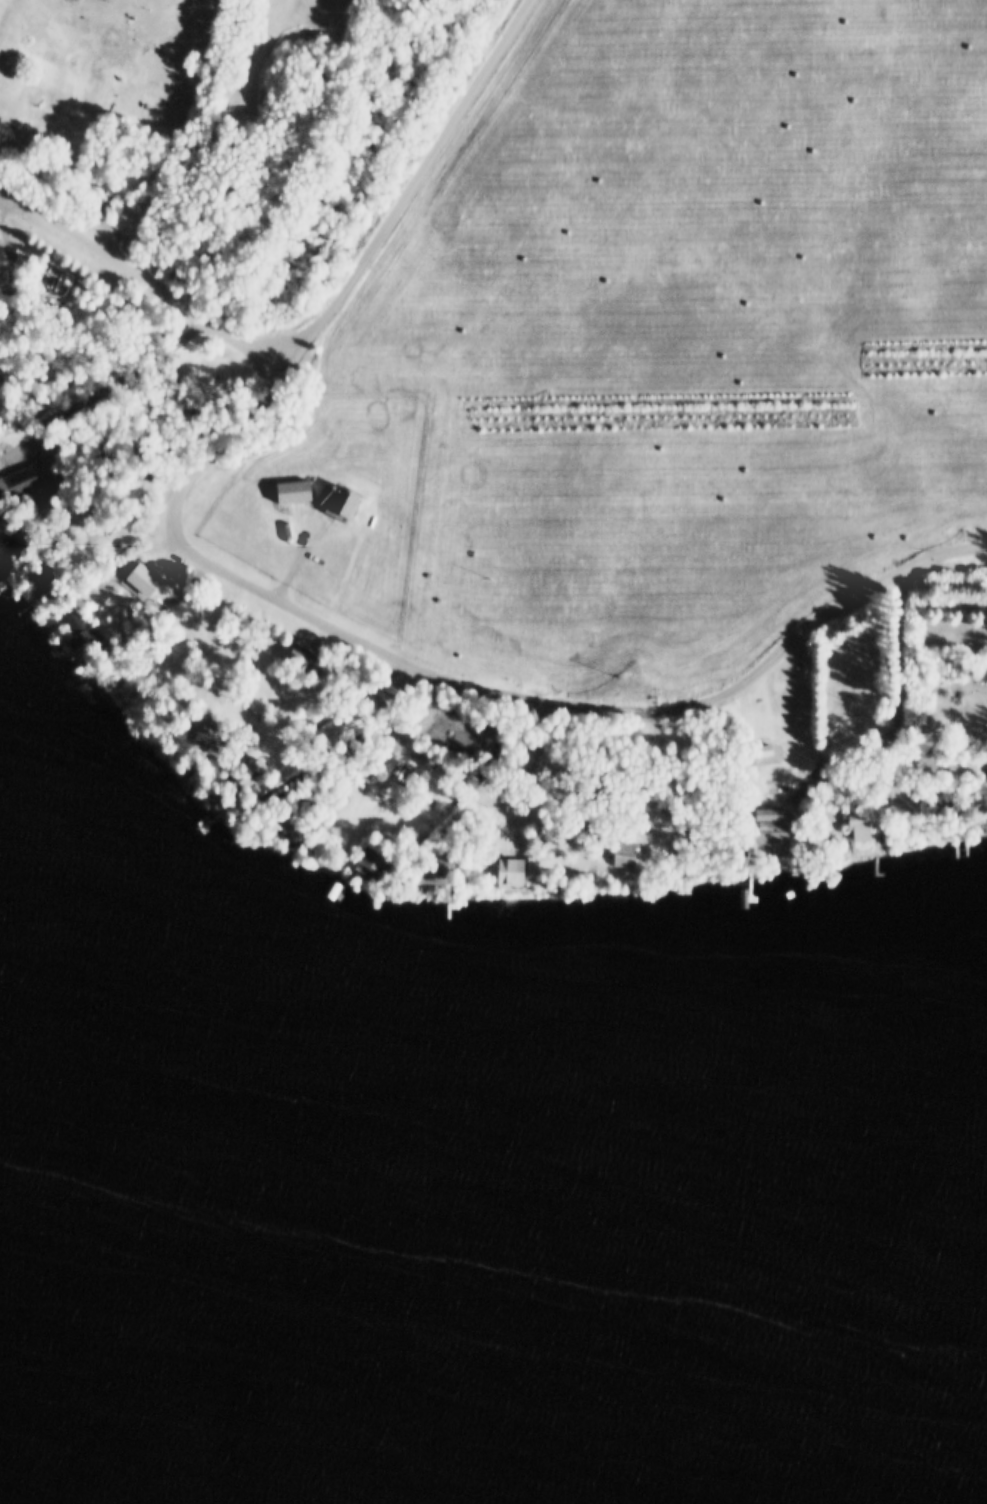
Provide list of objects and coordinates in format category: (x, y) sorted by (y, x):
road: (413, 186)
road: (6, 202)
building: (104, 203)
building: (109, 209)
road: (141, 281)
road: (23, 295)
road: (108, 380)
building: (21, 475)
building: (1, 480)
building: (289, 487)
building: (337, 496)
building: (23, 536)
building: (44, 574)
building: (79, 625)
building: (298, 658)
road: (898, 675)
building: (288, 681)
road: (478, 690)
building: (380, 691)
building: (223, 751)
building: (981, 764)
road: (481, 768)
building: (764, 817)
building: (855, 820)
building: (621, 850)
building: (366, 861)
building: (429, 867)
building: (505, 867)

